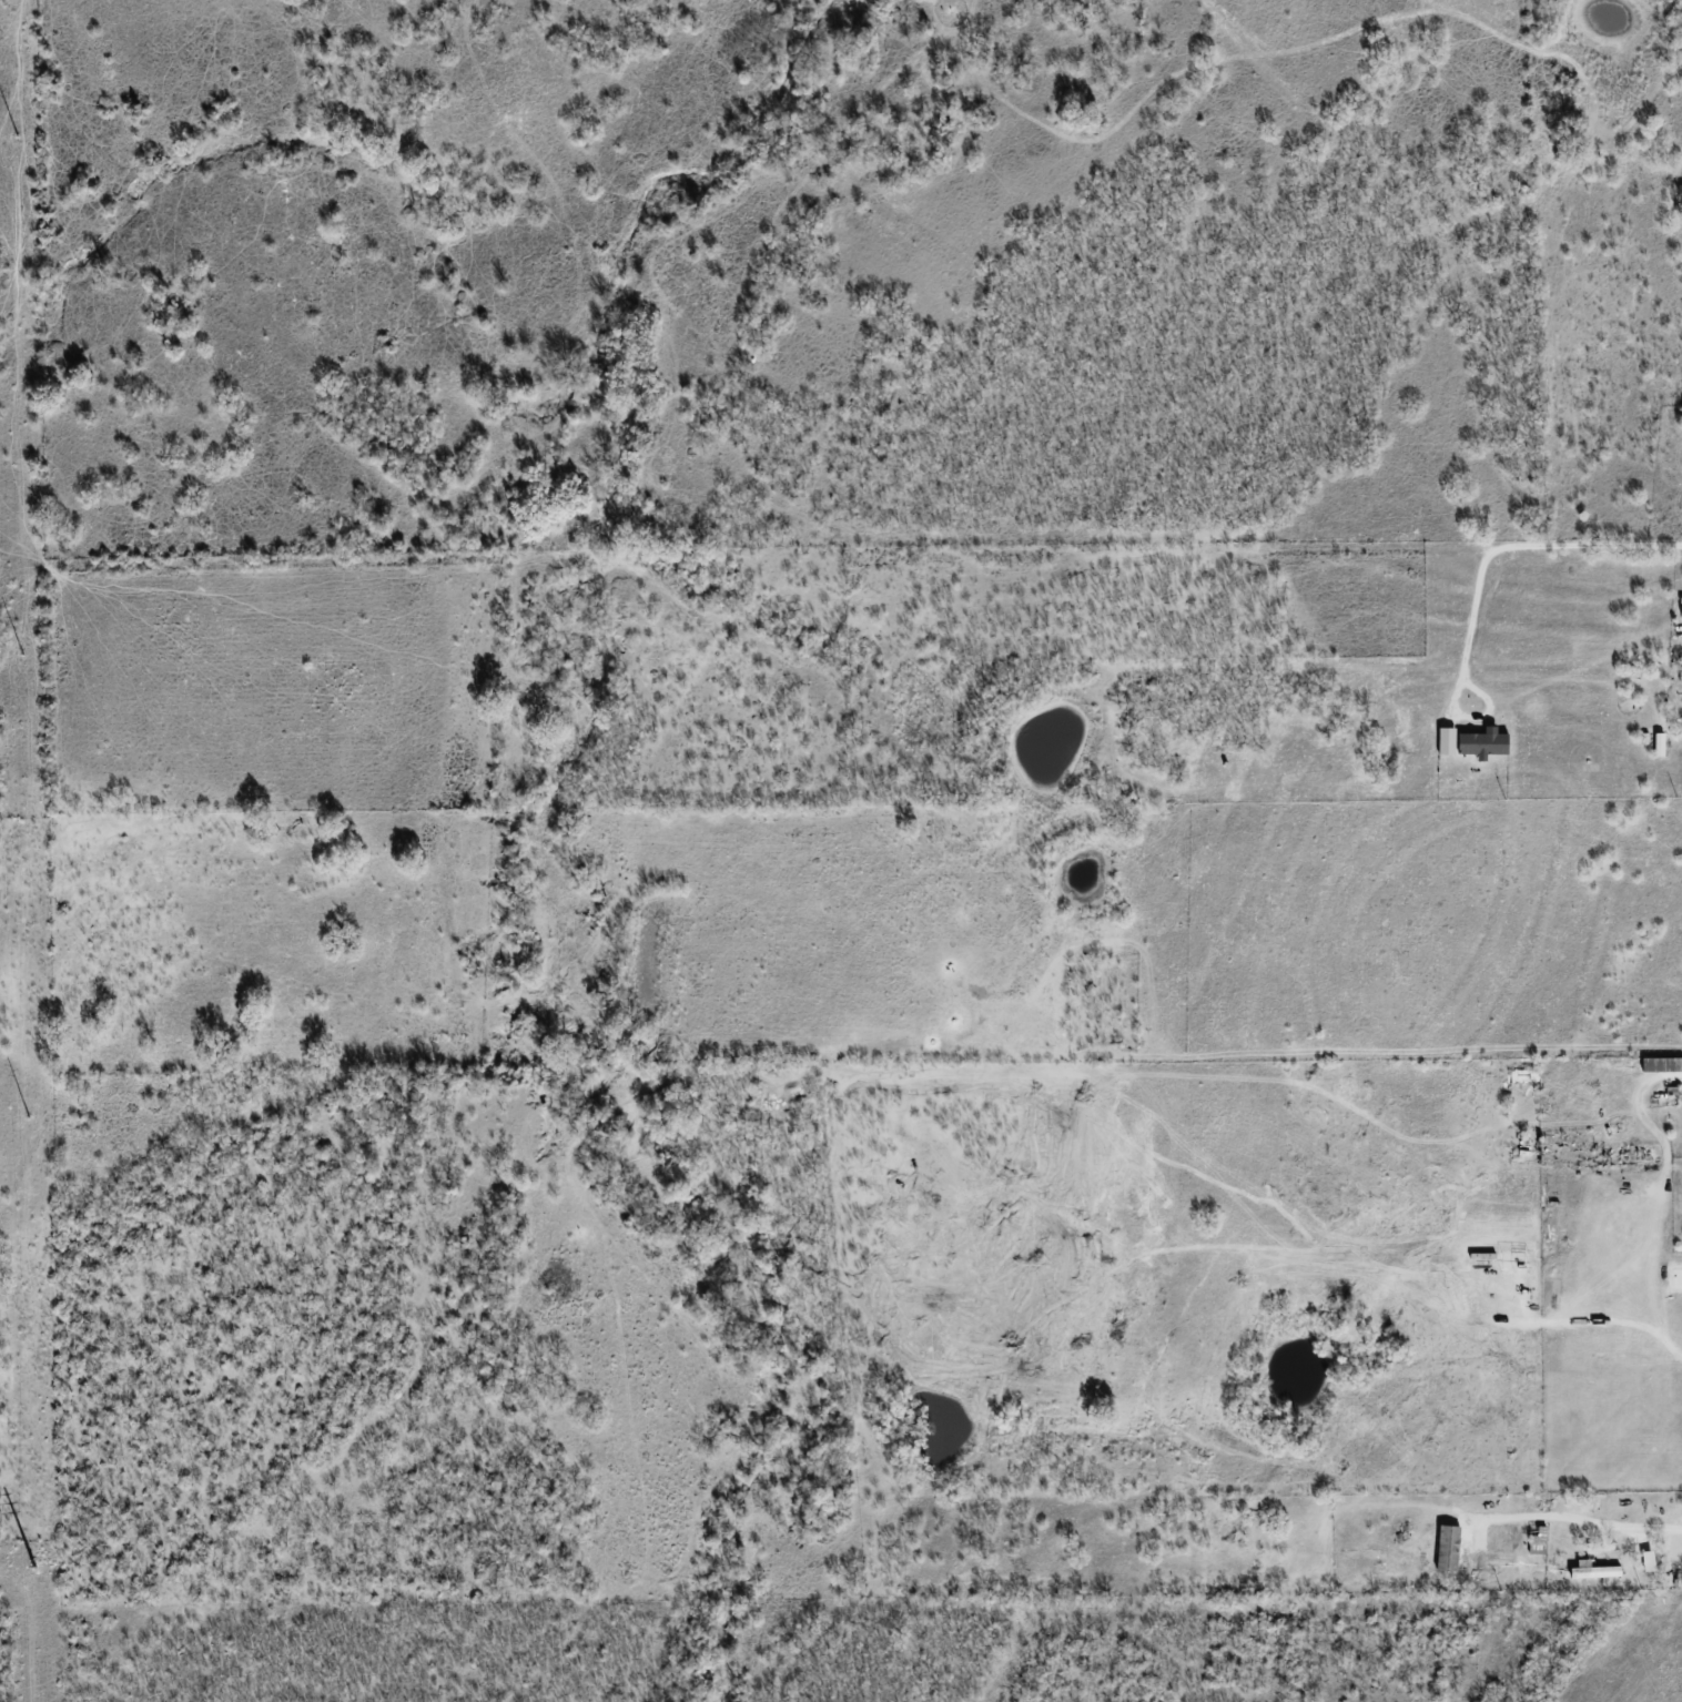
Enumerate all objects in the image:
power tower: (17, 138)
road: (1520, 547)
power tower: (22, 656)
building: (1447, 740)
building: (1483, 742)
building: (1661, 1064)
power tower: (27, 1118)
power tower: (33, 1570)
building: (1593, 1570)

